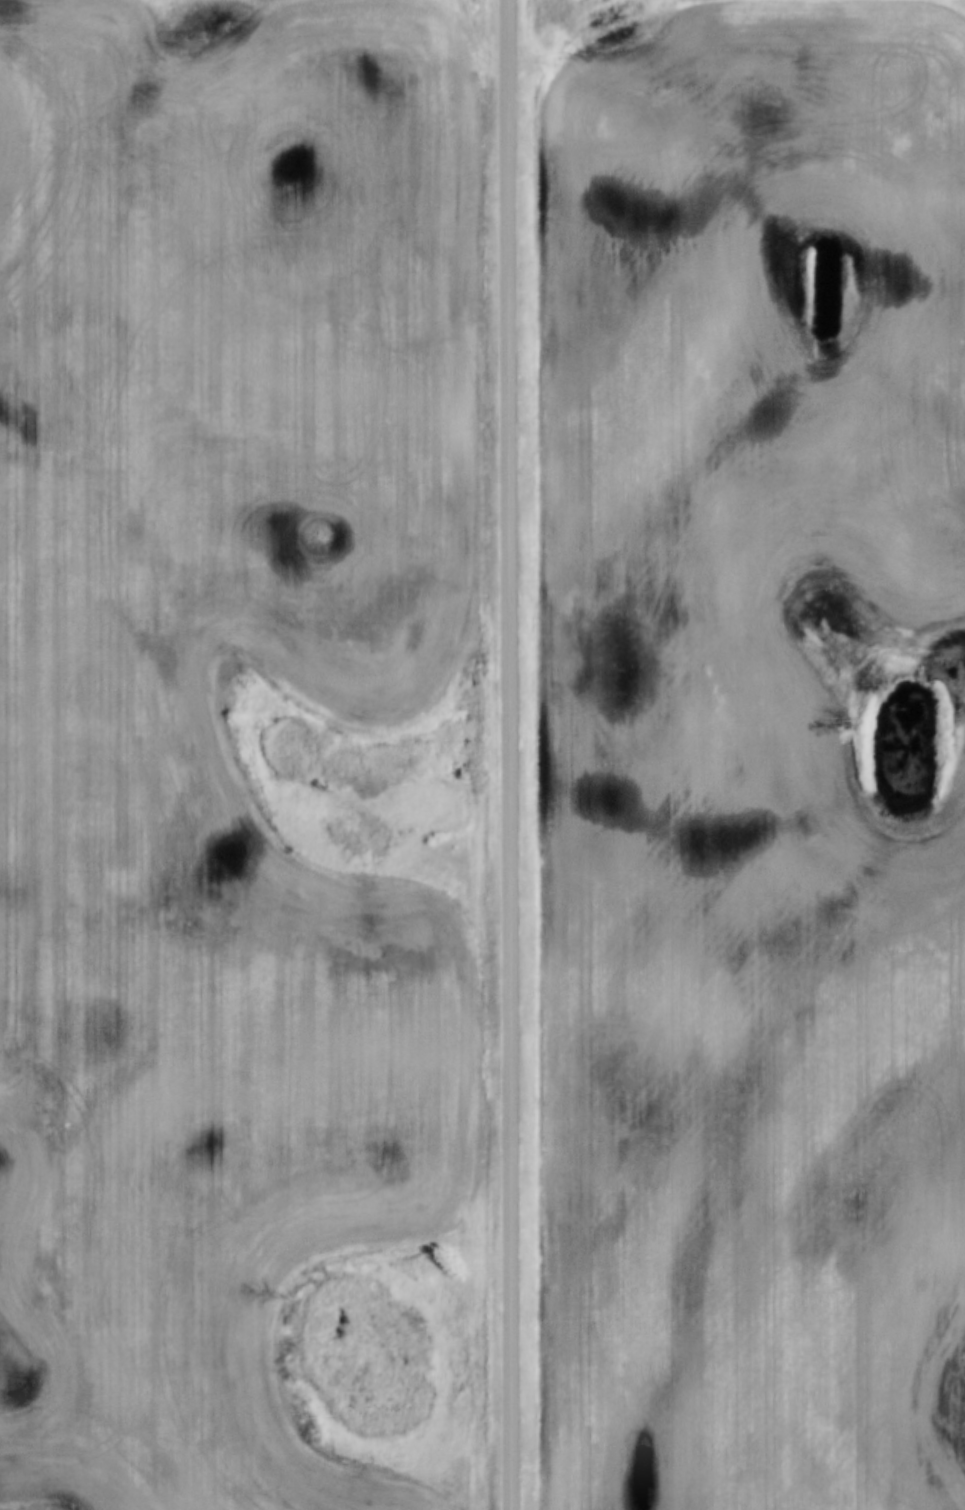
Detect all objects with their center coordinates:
road: (512, 755)

